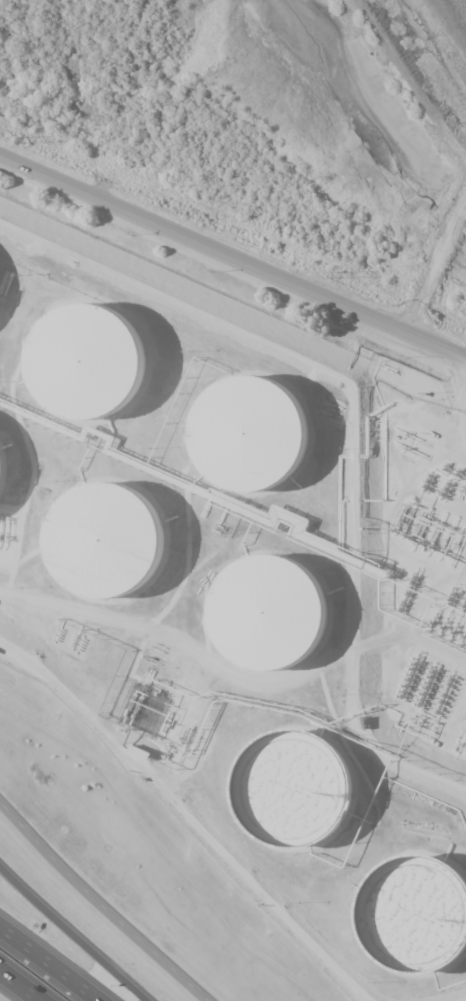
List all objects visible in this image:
power tower: (22, 141)
road: (233, 257)
power tower: (333, 274)
building: (102, 372)
storage tank: (102, 372)
building: (265, 443)
storage tank: (265, 443)
building: (1, 473)
storage tank: (1, 473)
building: (117, 548)
storage tank: (117, 548)
building: (283, 622)
storage tank: (283, 622)
building: (303, 801)
storage tank: (303, 801)
road: (102, 903)
building: (420, 926)
storage tank: (420, 926)
road: (72, 930)
road: (47, 967)
road: (19, 987)

